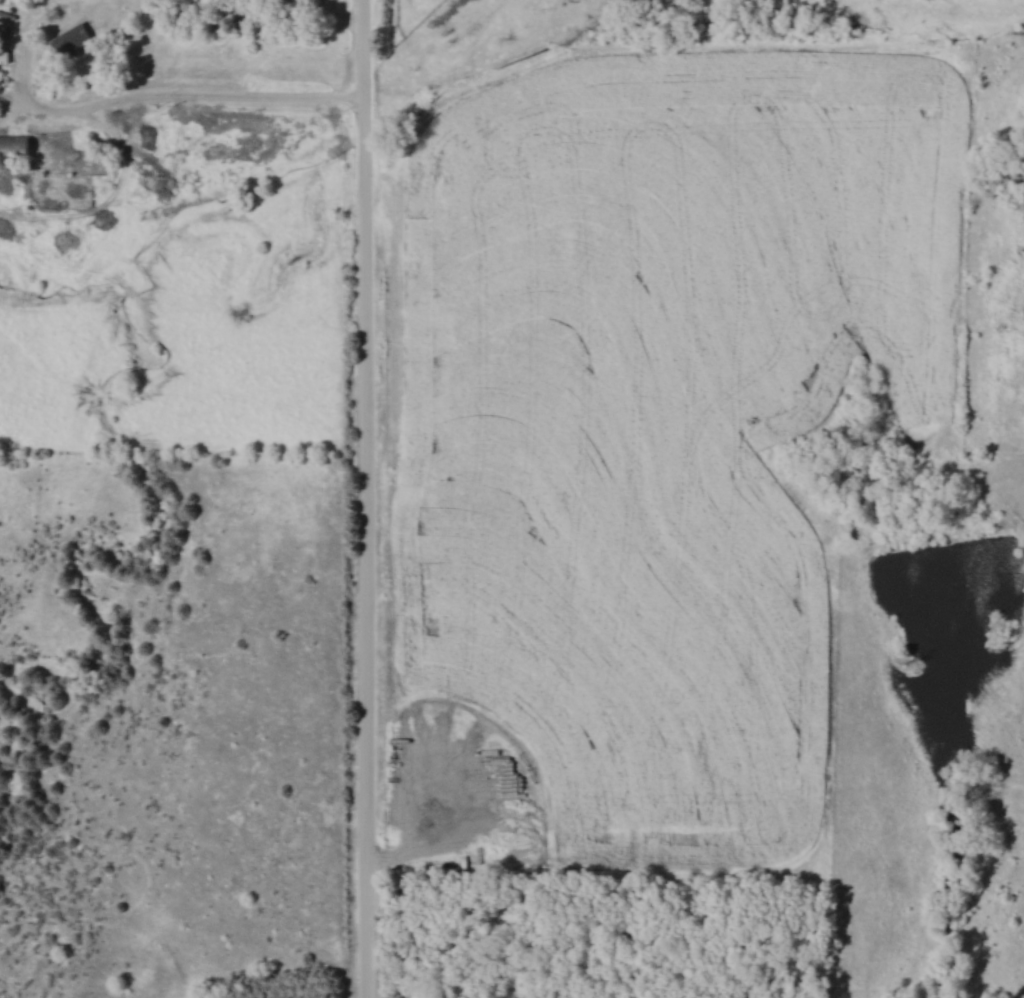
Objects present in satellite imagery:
building: (72, 40)
building: (4, 57)
road: (137, 97)
building: (15, 147)
road: (368, 498)

